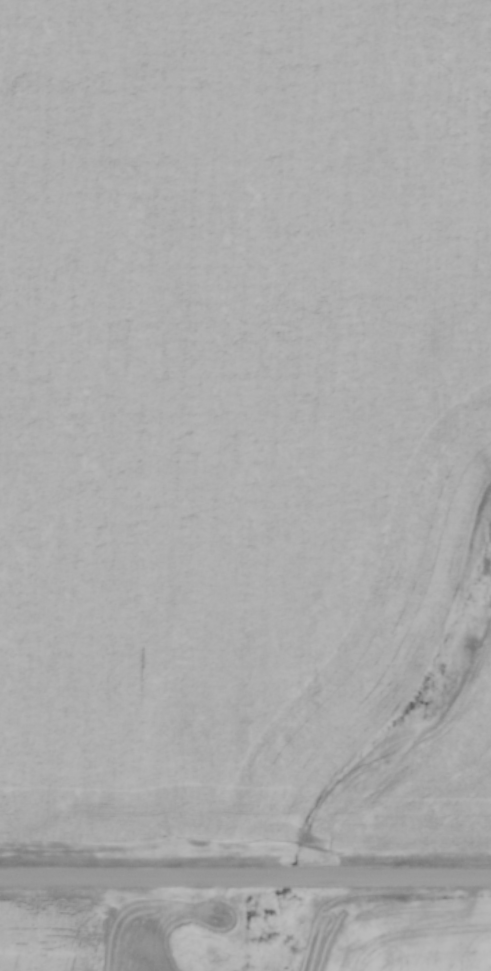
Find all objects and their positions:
road: (245, 880)

